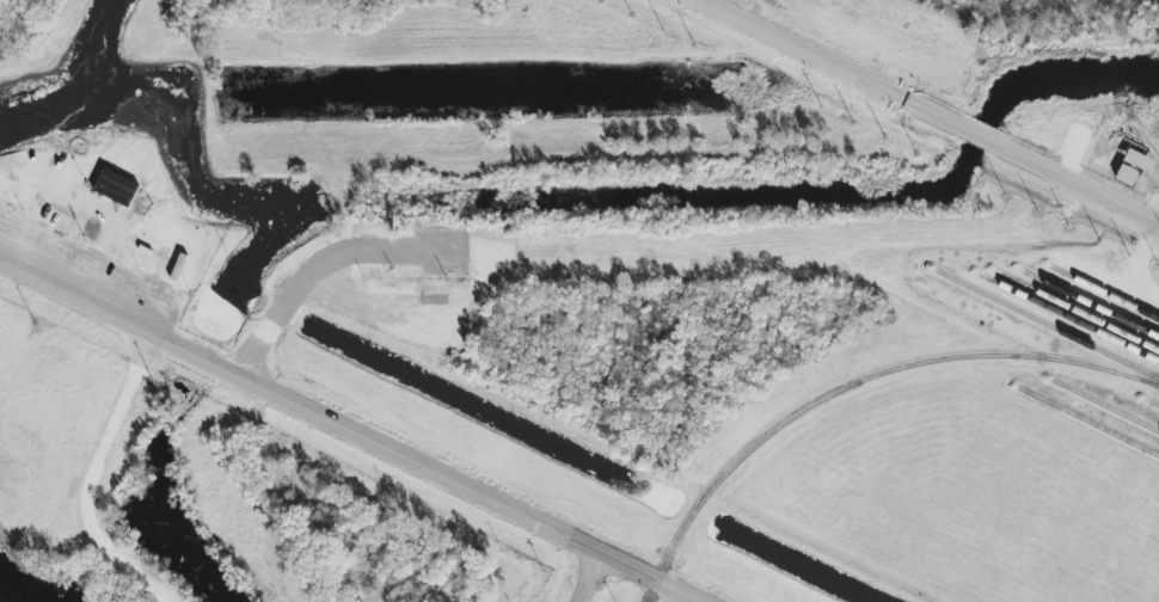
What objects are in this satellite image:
road: (930, 111)
building: (112, 186)
railway: (1105, 291)
railway: (1091, 305)
railway: (1077, 311)
railway: (1068, 317)
railway: (1047, 325)
railway: (856, 383)
railway: (1152, 401)
railway: (1105, 405)
railway: (1087, 422)
road: (349, 432)
road: (599, 579)

